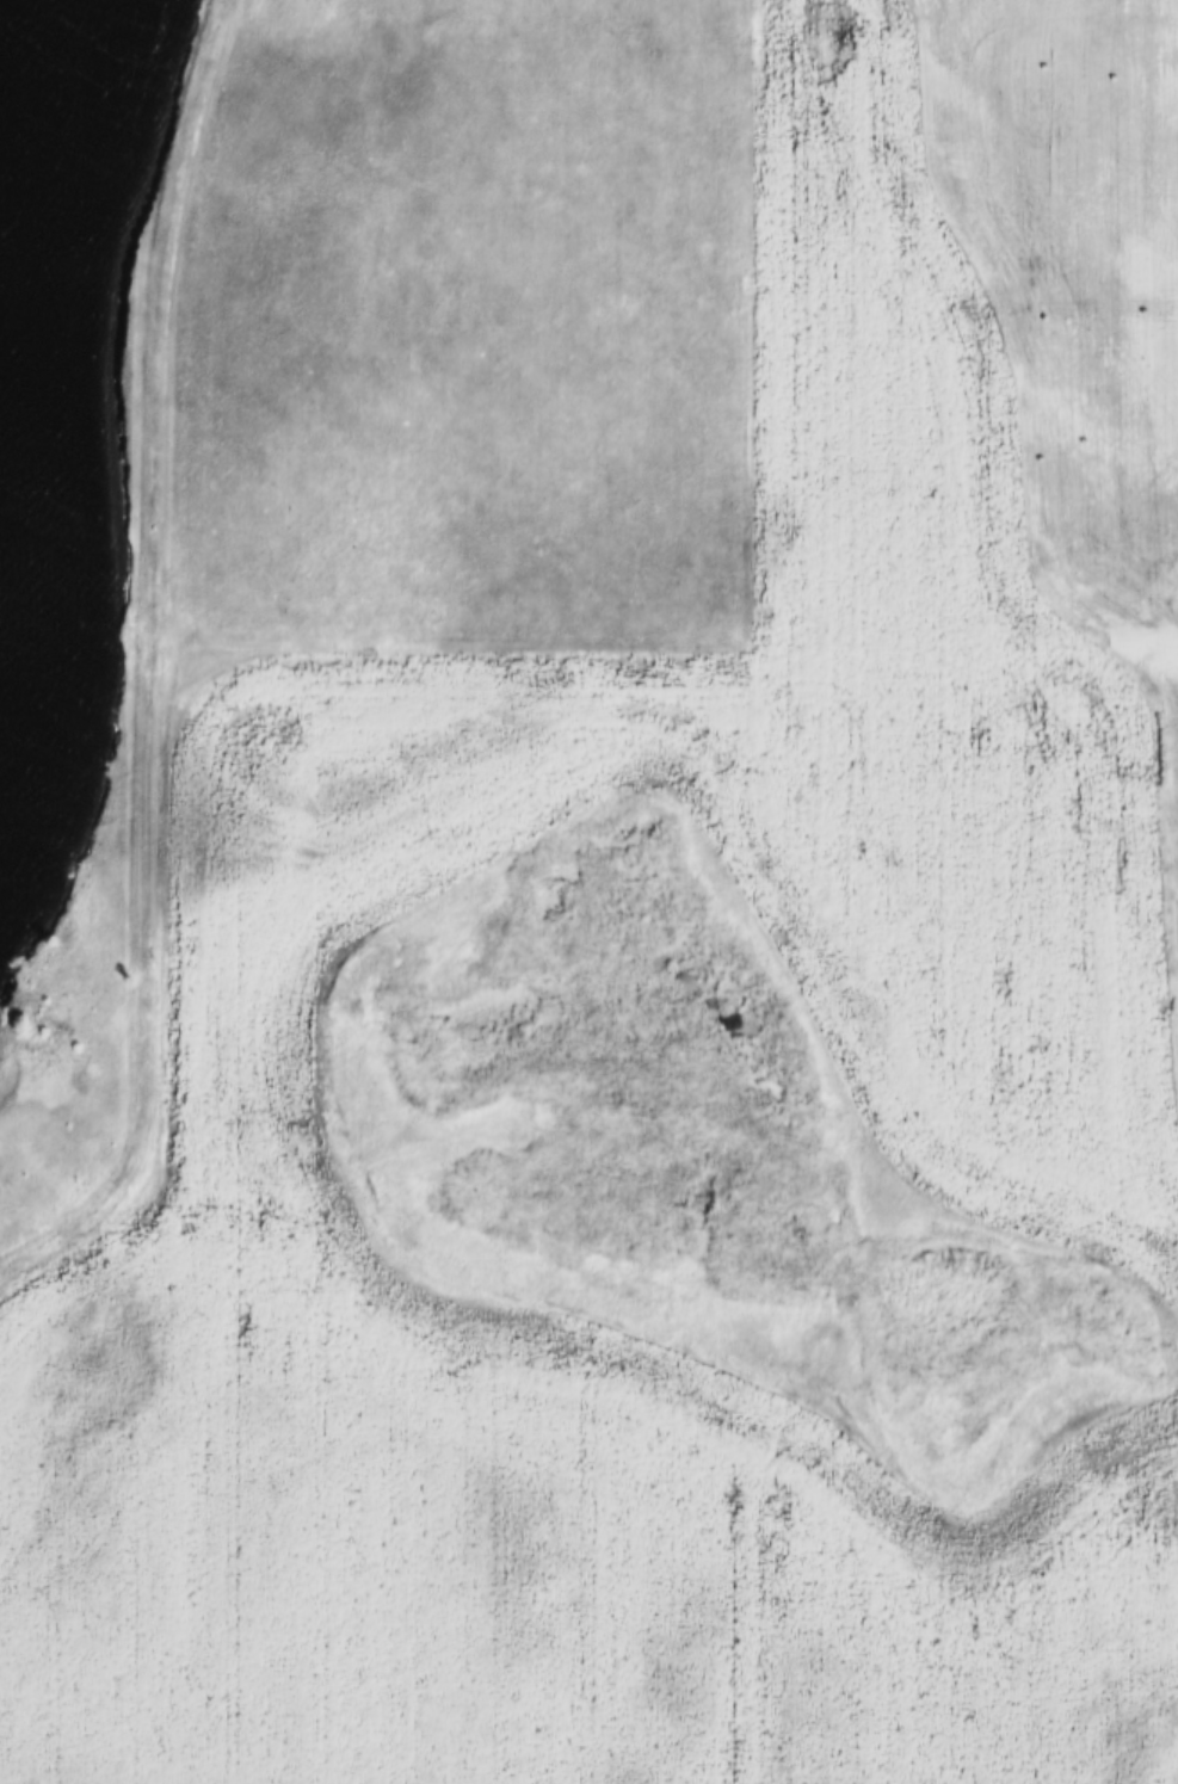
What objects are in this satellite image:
road: (206, 37)
road: (149, 718)

